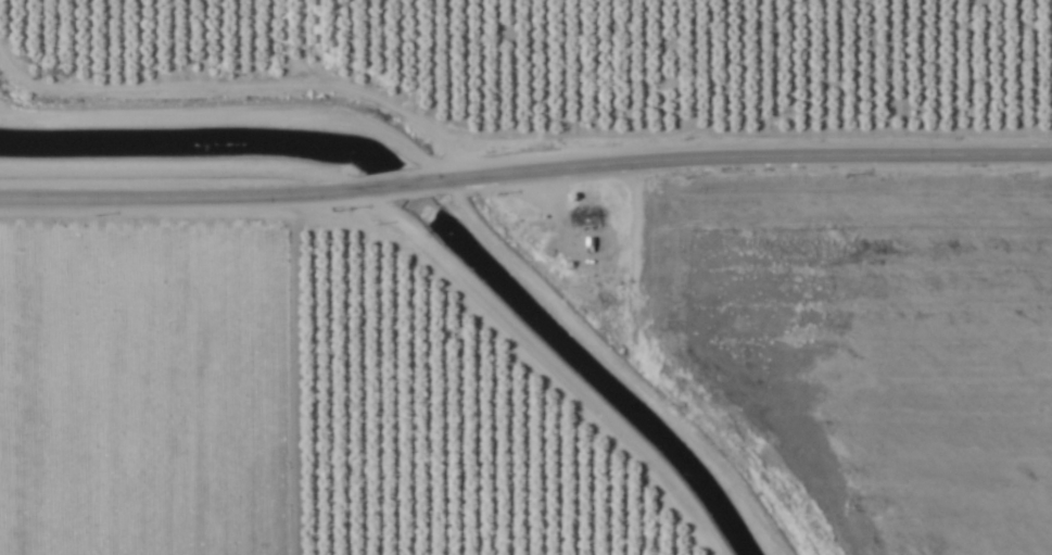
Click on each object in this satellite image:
road: (524, 160)
building: (586, 216)
building: (549, 253)
crop: (525, 277)
road: (495, 363)

